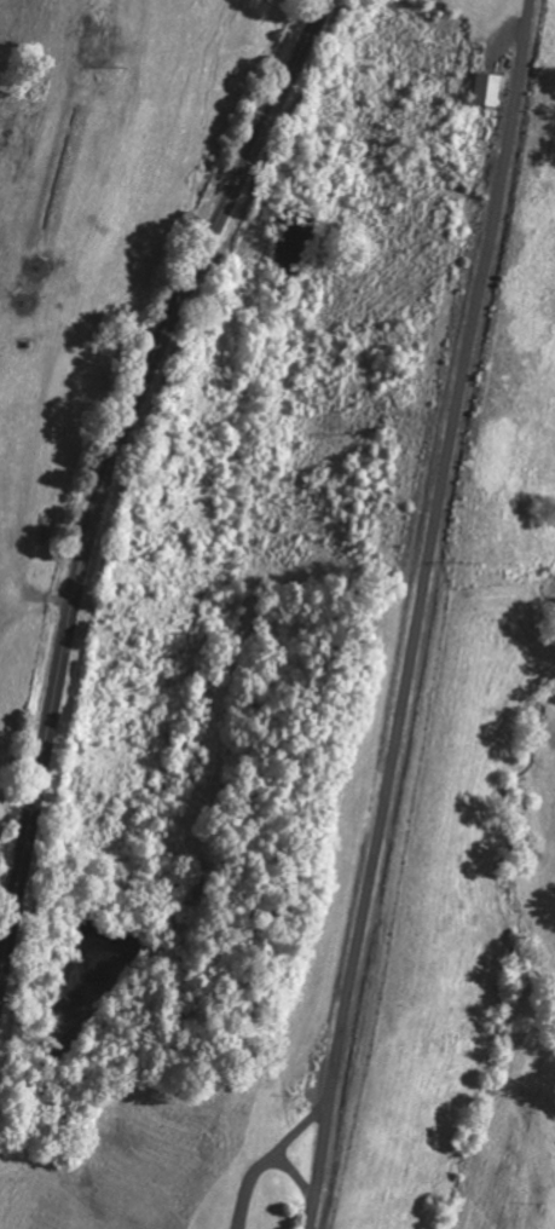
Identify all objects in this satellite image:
building: (485, 92)
road: (108, 472)
road: (418, 613)

